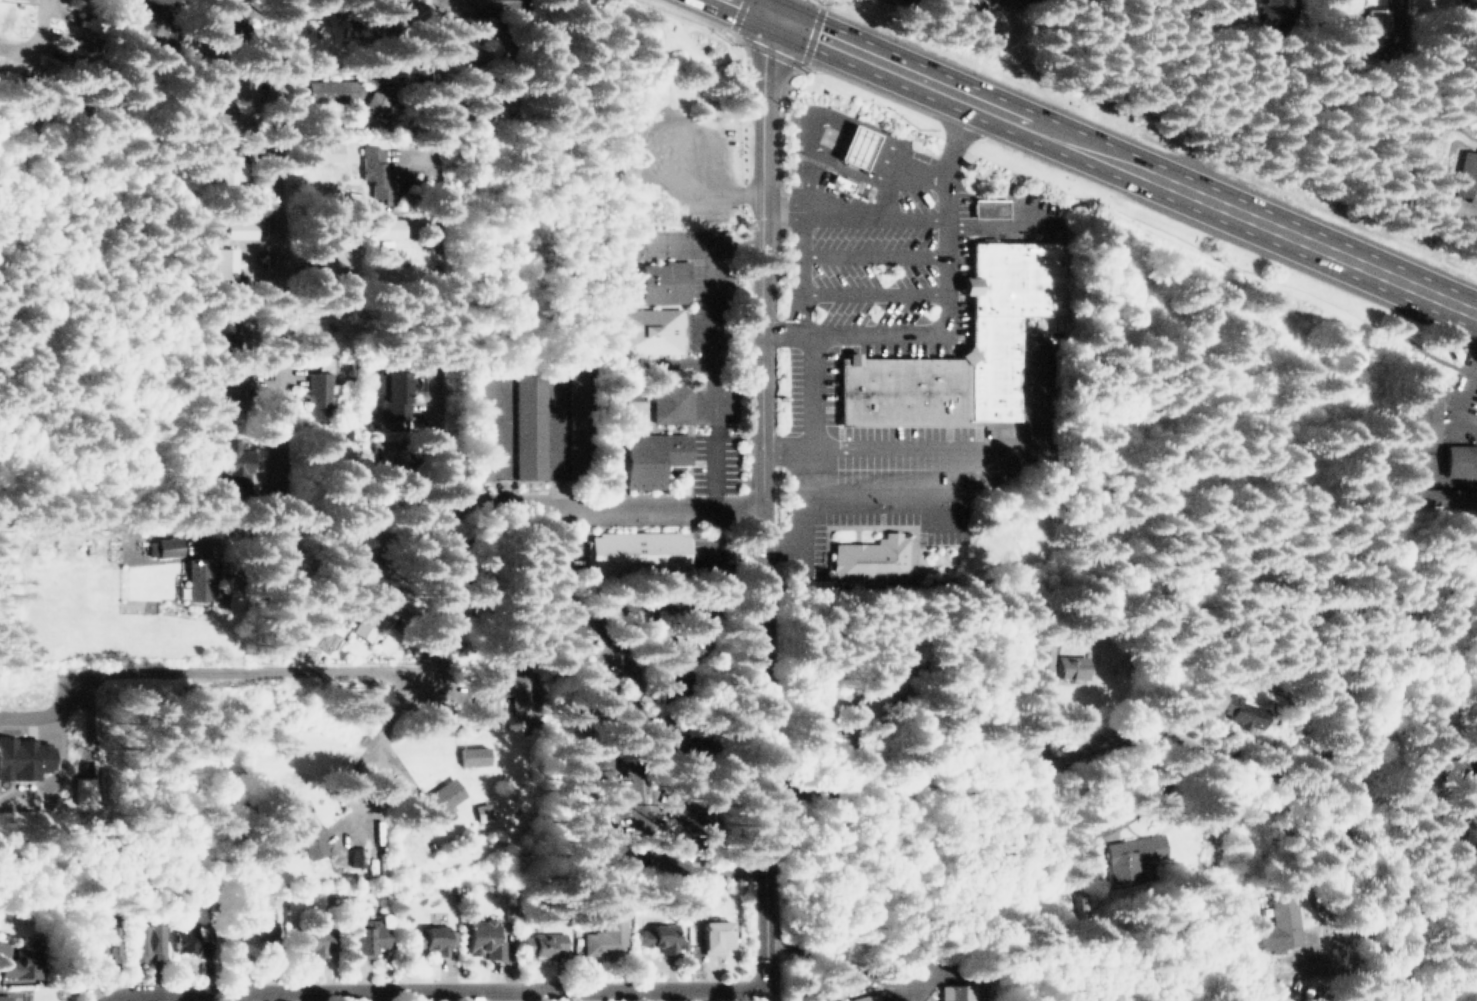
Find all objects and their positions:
building: (1014, 2)
building: (496, 4)
road: (781, 8)
building: (404, 11)
traffic signals: (777, 17)
building: (1273, 17)
building: (232, 26)
building: (1365, 28)
road: (38, 36)
building: (448, 53)
building: (466, 57)
building: (229, 87)
building: (331, 89)
road: (1213, 92)
building: (379, 102)
building: (228, 121)
road: (820, 121)
building: (851, 146)
gas station: (851, 146)
building: (328, 153)
road: (1108, 155)
building: (226, 167)
building: (378, 174)
building: (1466, 179)
building: (838, 184)
road: (275, 187)
building: (988, 209)
road: (877, 217)
building: (238, 229)
building: (387, 229)
building: (330, 256)
building: (221, 263)
building: (665, 283)
road: (946, 308)
building: (221, 324)
road: (440, 326)
building: (650, 331)
road: (734, 362)
building: (948, 371)
parking lot: (811, 382)
road: (1463, 384)
building: (231, 387)
road: (713, 387)
building: (391, 391)
building: (320, 394)
building: (671, 399)
building: (528, 414)
road: (941, 455)
building: (390, 457)
building: (653, 458)
building: (235, 460)
building: (1459, 460)
road: (807, 465)
building: (1416, 465)
road: (566, 473)
road: (428, 505)
road: (758, 508)
building: (163, 547)
building: (640, 553)
building: (870, 556)
building: (350, 562)
road: (612, 574)
building: (196, 580)
building: (364, 625)
building: (567, 639)
building: (1057, 667)
road: (222, 671)
road: (1436, 672)
road: (1396, 675)
building: (675, 677)
building: (498, 690)
building: (593, 697)
building: (876, 701)
building: (1229, 706)
road: (430, 729)
building: (826, 733)
road: (1071, 752)
building: (470, 756)
building: (24, 758)
road: (366, 775)
building: (83, 791)
building: (436, 800)
building: (479, 813)
building: (588, 822)
building: (304, 840)
building: (356, 857)
building: (1131, 858)
road: (1425, 905)
building: (345, 907)
building: (250, 921)
building: (1281, 925)
building: (715, 933)
building: (372, 934)
building: (606, 935)
building: (658, 936)
building: (429, 937)
building: (482, 937)
building: (310, 938)
building: (144, 939)
building: (101, 941)
building: (542, 942)
building: (190, 943)
building: (20, 960)
road: (437, 989)
building: (957, 992)
building: (4, 998)
building: (866, 998)

